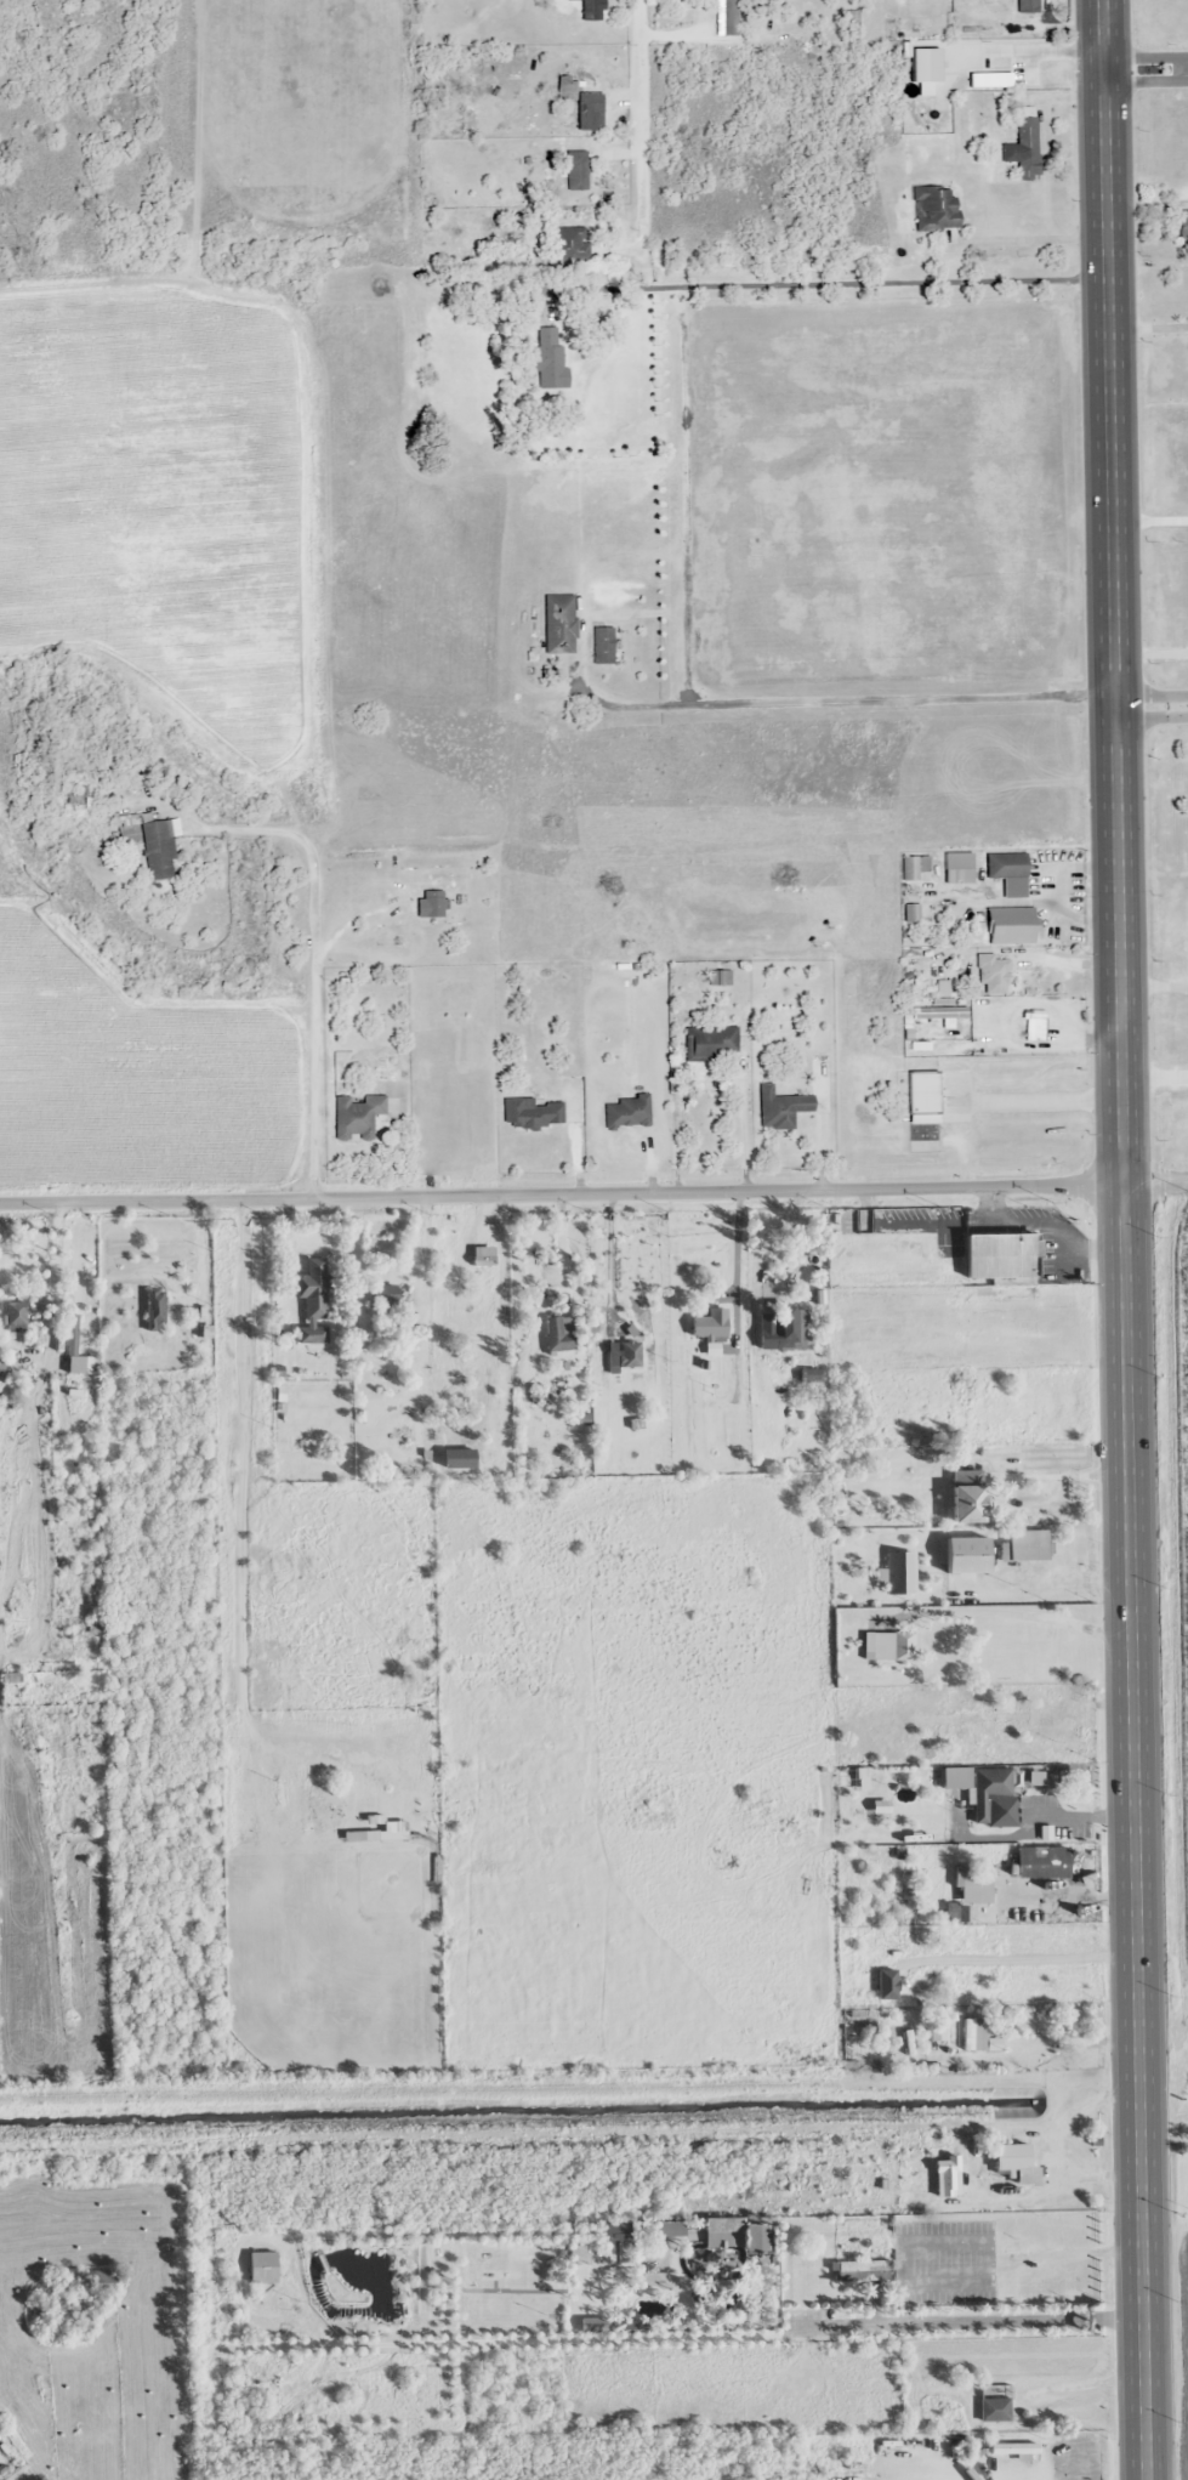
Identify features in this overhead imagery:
building: (1027, 6)
building: (590, 10)
road: (1147, 67)
road: (524, 73)
building: (564, 87)
building: (928, 90)
road: (641, 121)
building: (1023, 149)
building: (575, 171)
building: (933, 209)
building: (1182, 223)
building: (569, 244)
building: (525, 320)
building: (548, 358)
road: (928, 422)
building: (558, 624)
building: (602, 646)
road: (1153, 705)
building: (76, 796)
building: (150, 844)
building: (956, 868)
building: (1005, 872)
building: (433, 902)
building: (1008, 925)
building: (991, 975)
building: (718, 977)
building: (707, 1042)
building: (920, 1096)
building: (779, 1107)
building: (529, 1112)
building: (626, 1112)
building: (357, 1117)
road: (562, 1186)
road: (1156, 1186)
road: (1125, 1239)
building: (1000, 1255)
building: (311, 1284)
building: (390, 1294)
building: (448, 1306)
building: (157, 1309)
building: (18, 1316)
building: (707, 1327)
building: (791, 1332)
building: (73, 1334)
building: (312, 1334)
building: (558, 1334)
building: (629, 1355)
building: (1, 1364)
building: (808, 1375)
building: (967, 1503)
building: (1025, 1545)
building: (965, 1555)
building: (899, 1573)
building: (891, 1646)
building: (1021, 1714)
building: (954, 1778)
building: (993, 1798)
building: (1041, 1862)
building: (971, 1888)
building: (973, 2036)
building: (937, 2039)
building: (1011, 2161)
building: (721, 2225)
building: (727, 2260)
building: (261, 2268)
building: (862, 2271)
building: (102, 2281)
building: (994, 2404)
building: (1021, 2447)
building: (876, 2458)

